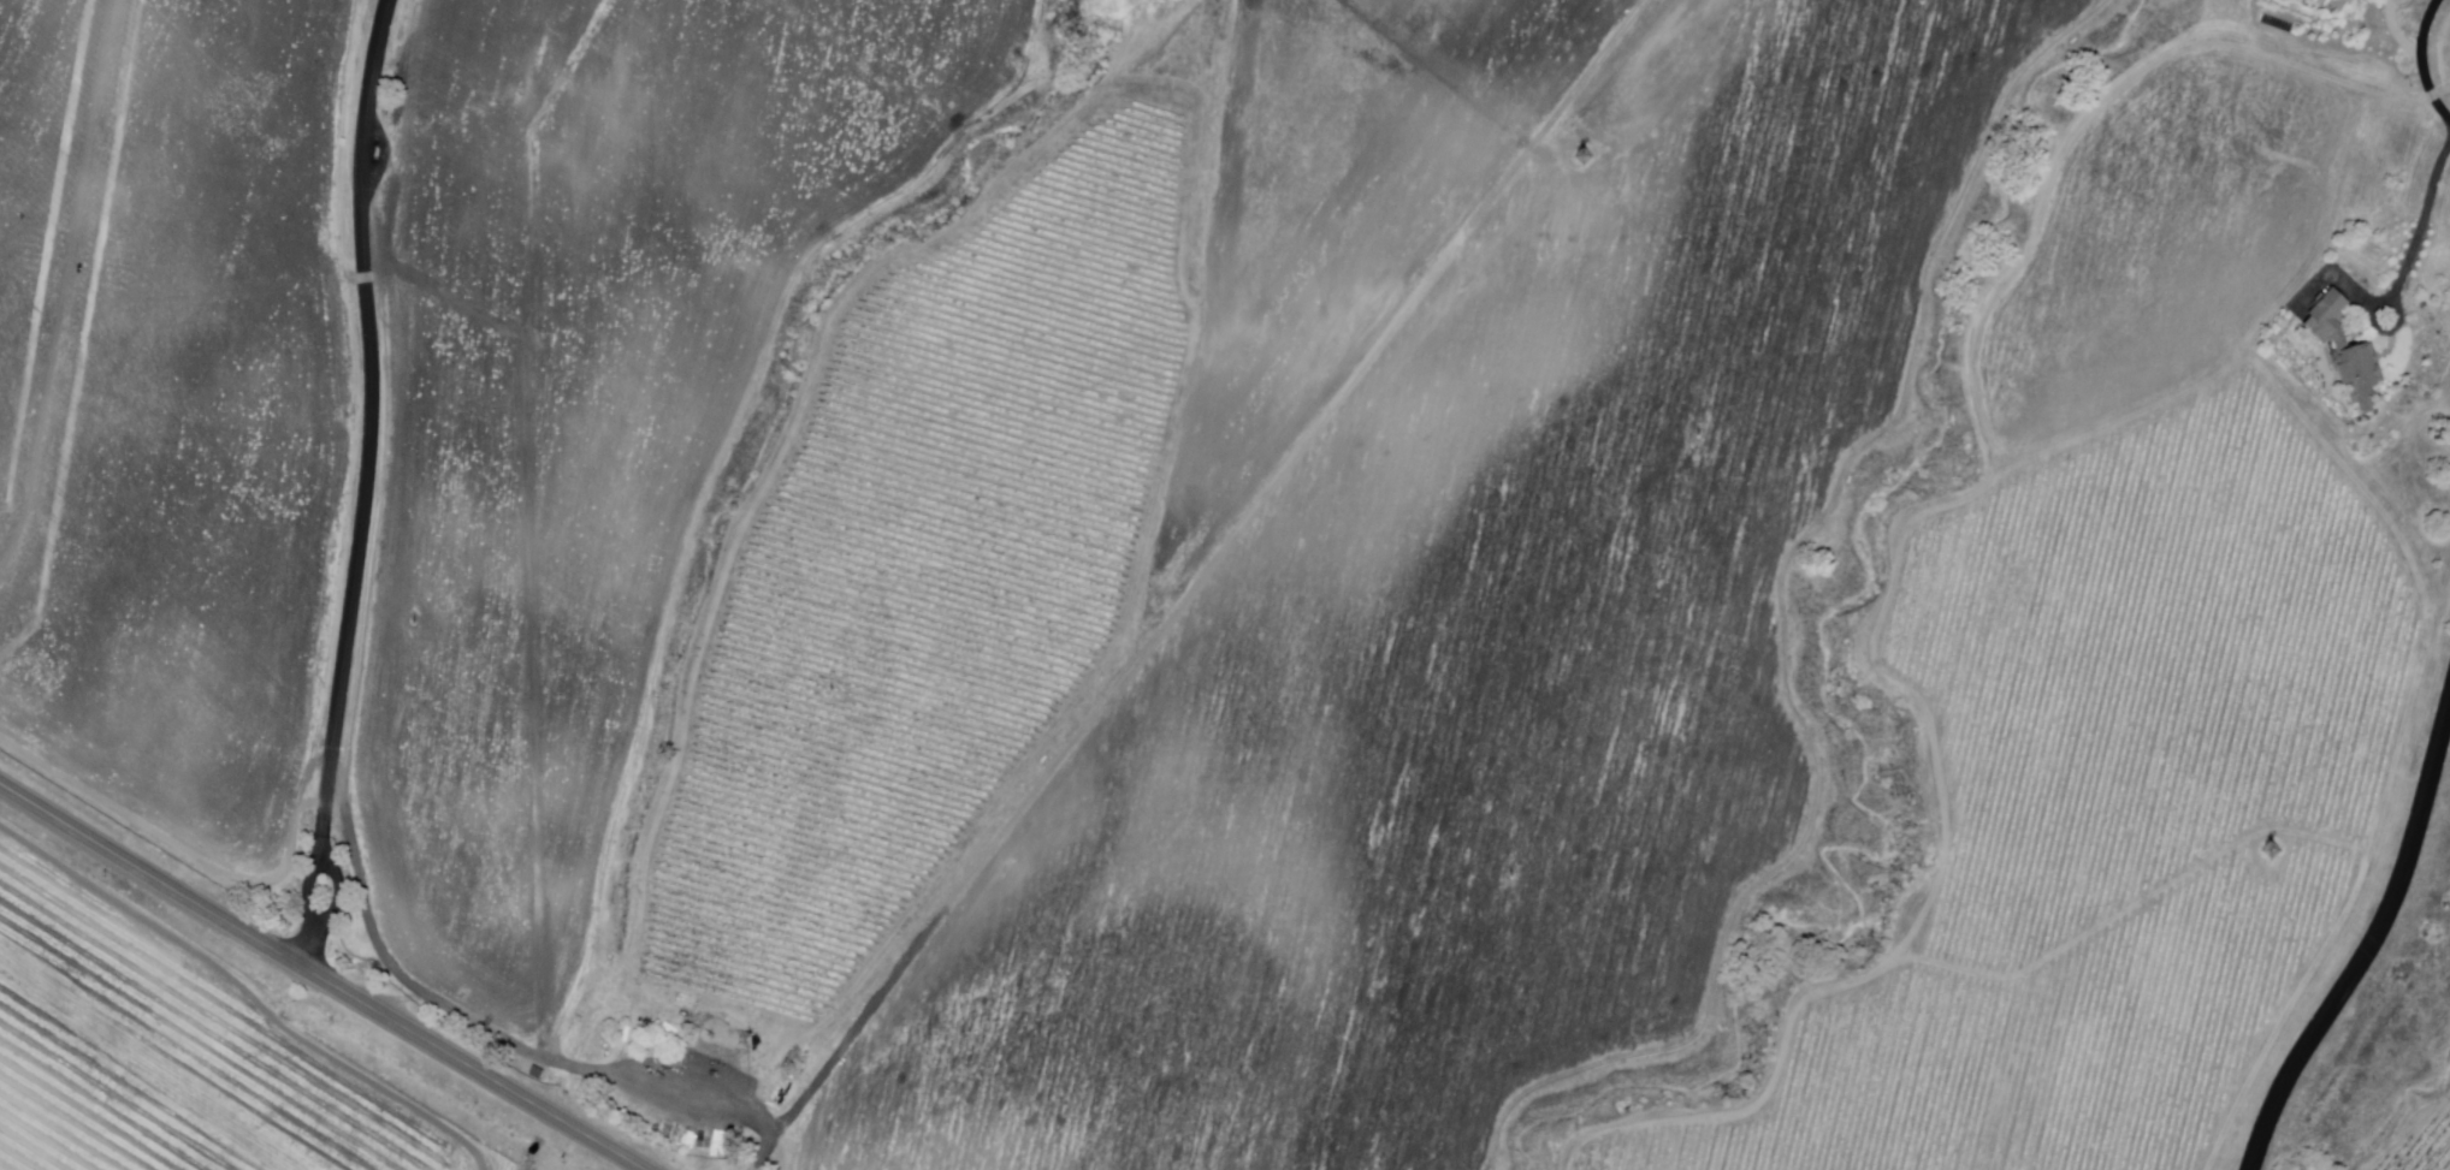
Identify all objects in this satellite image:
road: (2425, 60)
power tower: (1586, 160)
road: (2426, 226)
building: (2349, 352)
road: (368, 473)
road: (1202, 584)
power tower: (2274, 861)
road: (324, 916)
road: (2371, 939)
road: (318, 979)

